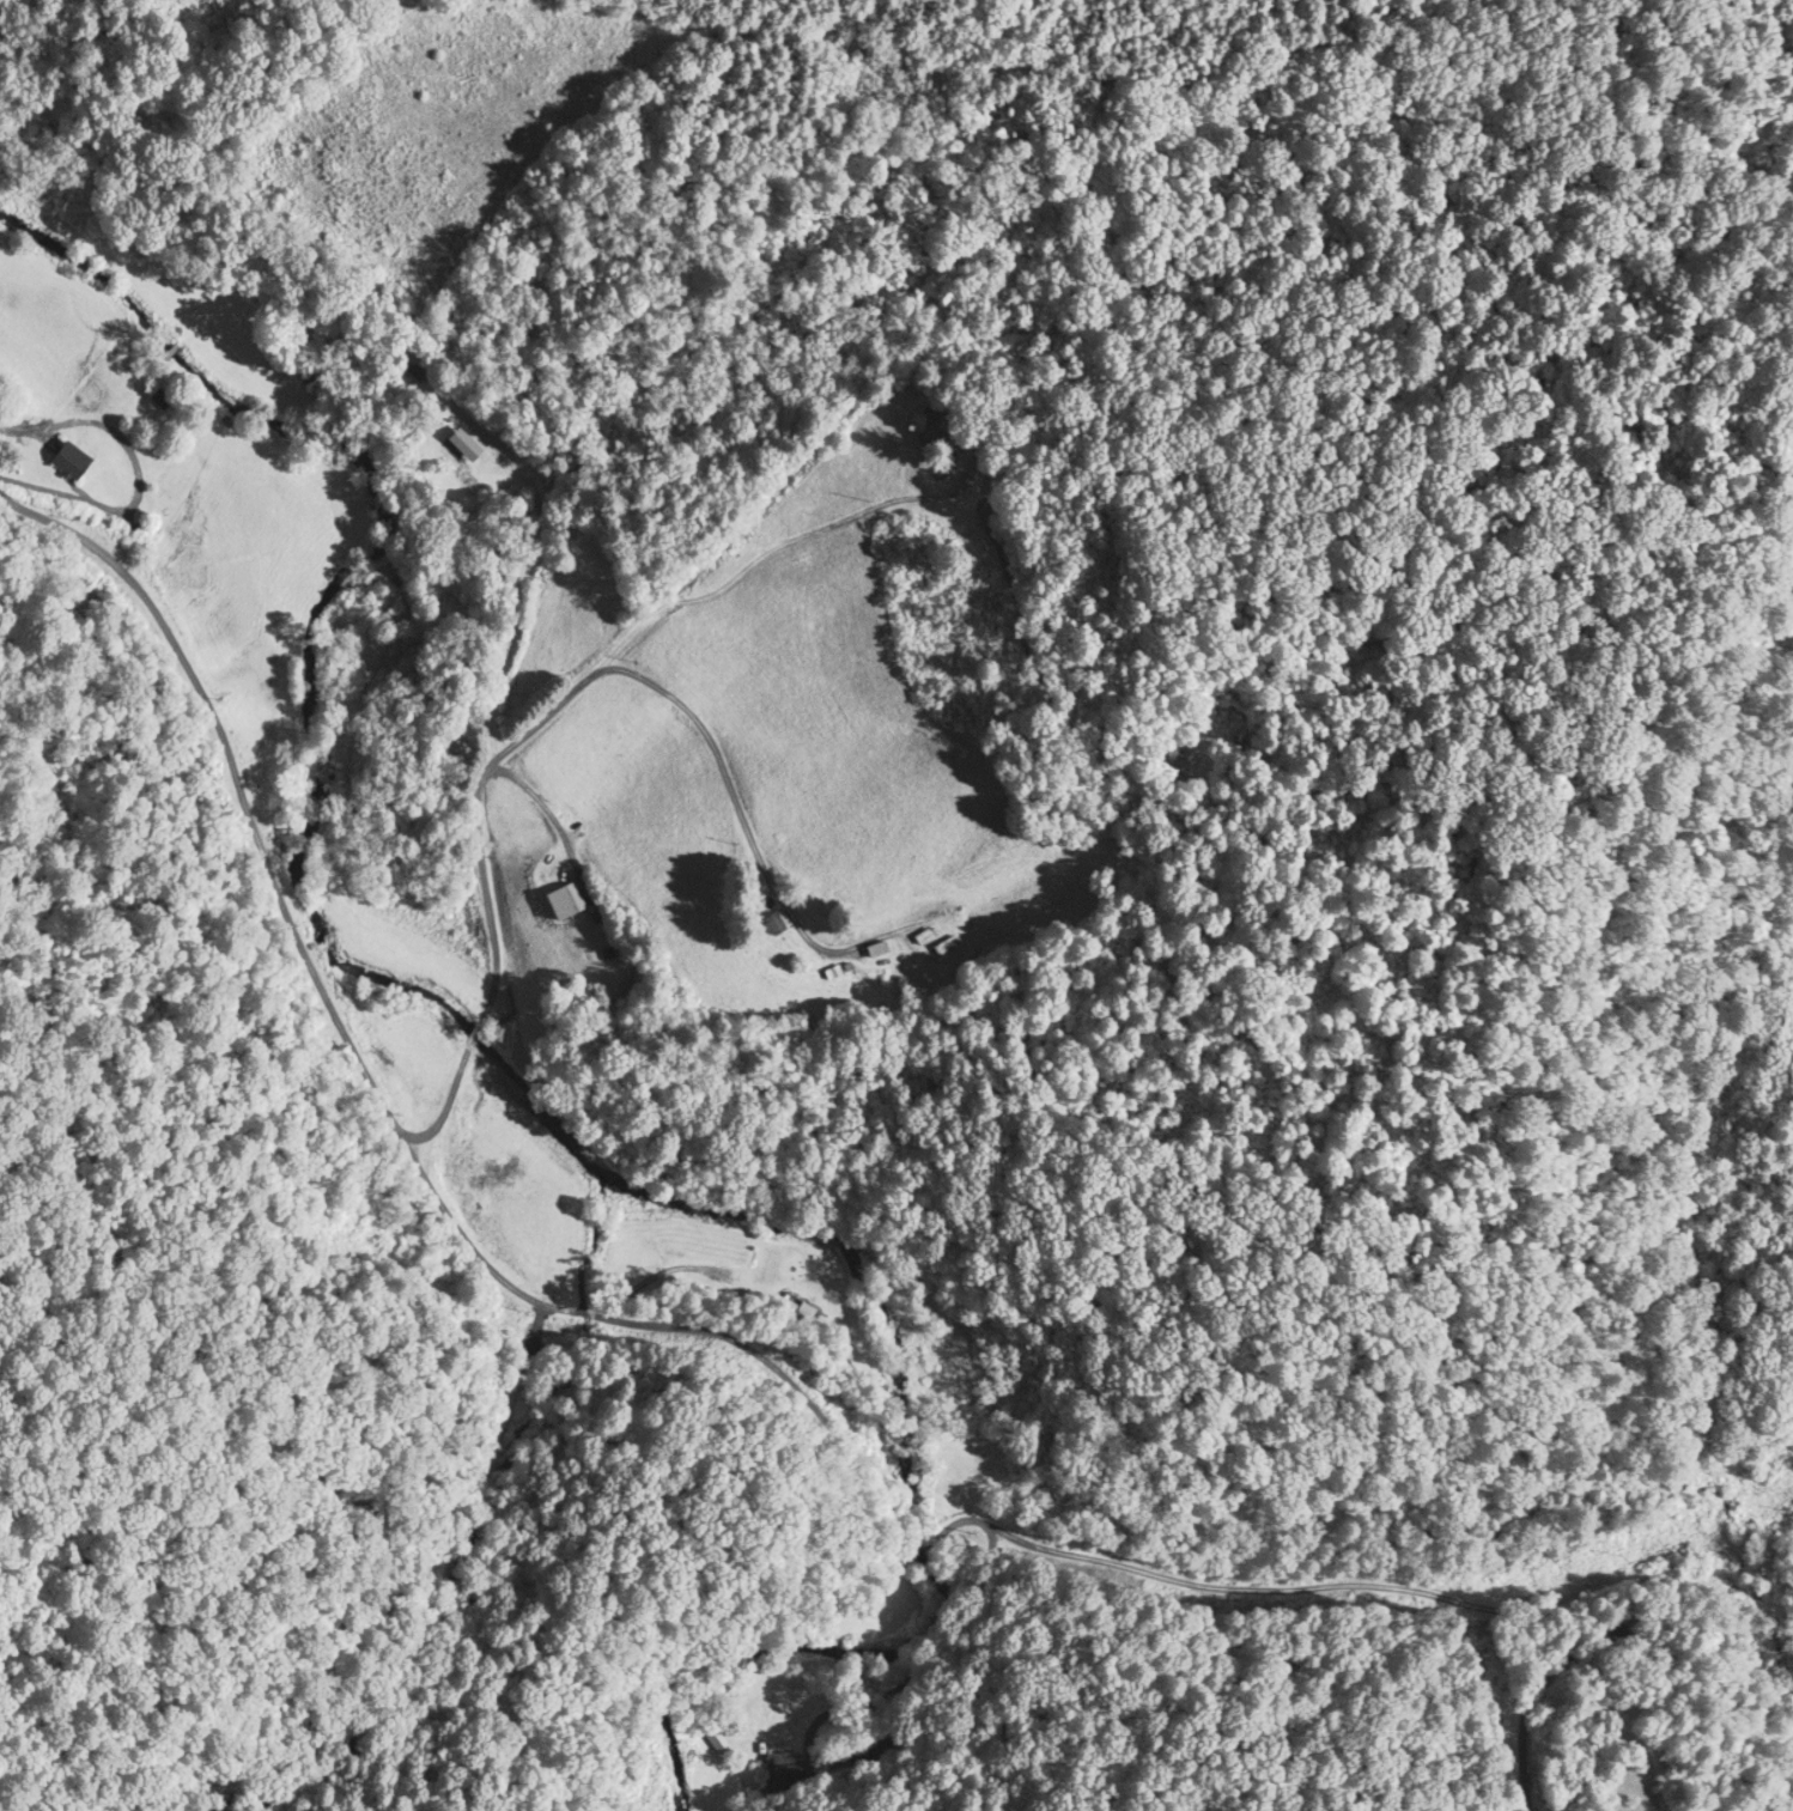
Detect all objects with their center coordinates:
building: (309, 376)
building: (158, 397)
building: (926, 423)
building: (463, 442)
building: (68, 458)
road: (645, 610)
building: (563, 899)
building: (773, 920)
building: (943, 943)
building: (875, 947)
building: (803, 1315)
road: (742, 1343)
building: (711, 1737)
building: (880, 1748)
building: (779, 1772)

